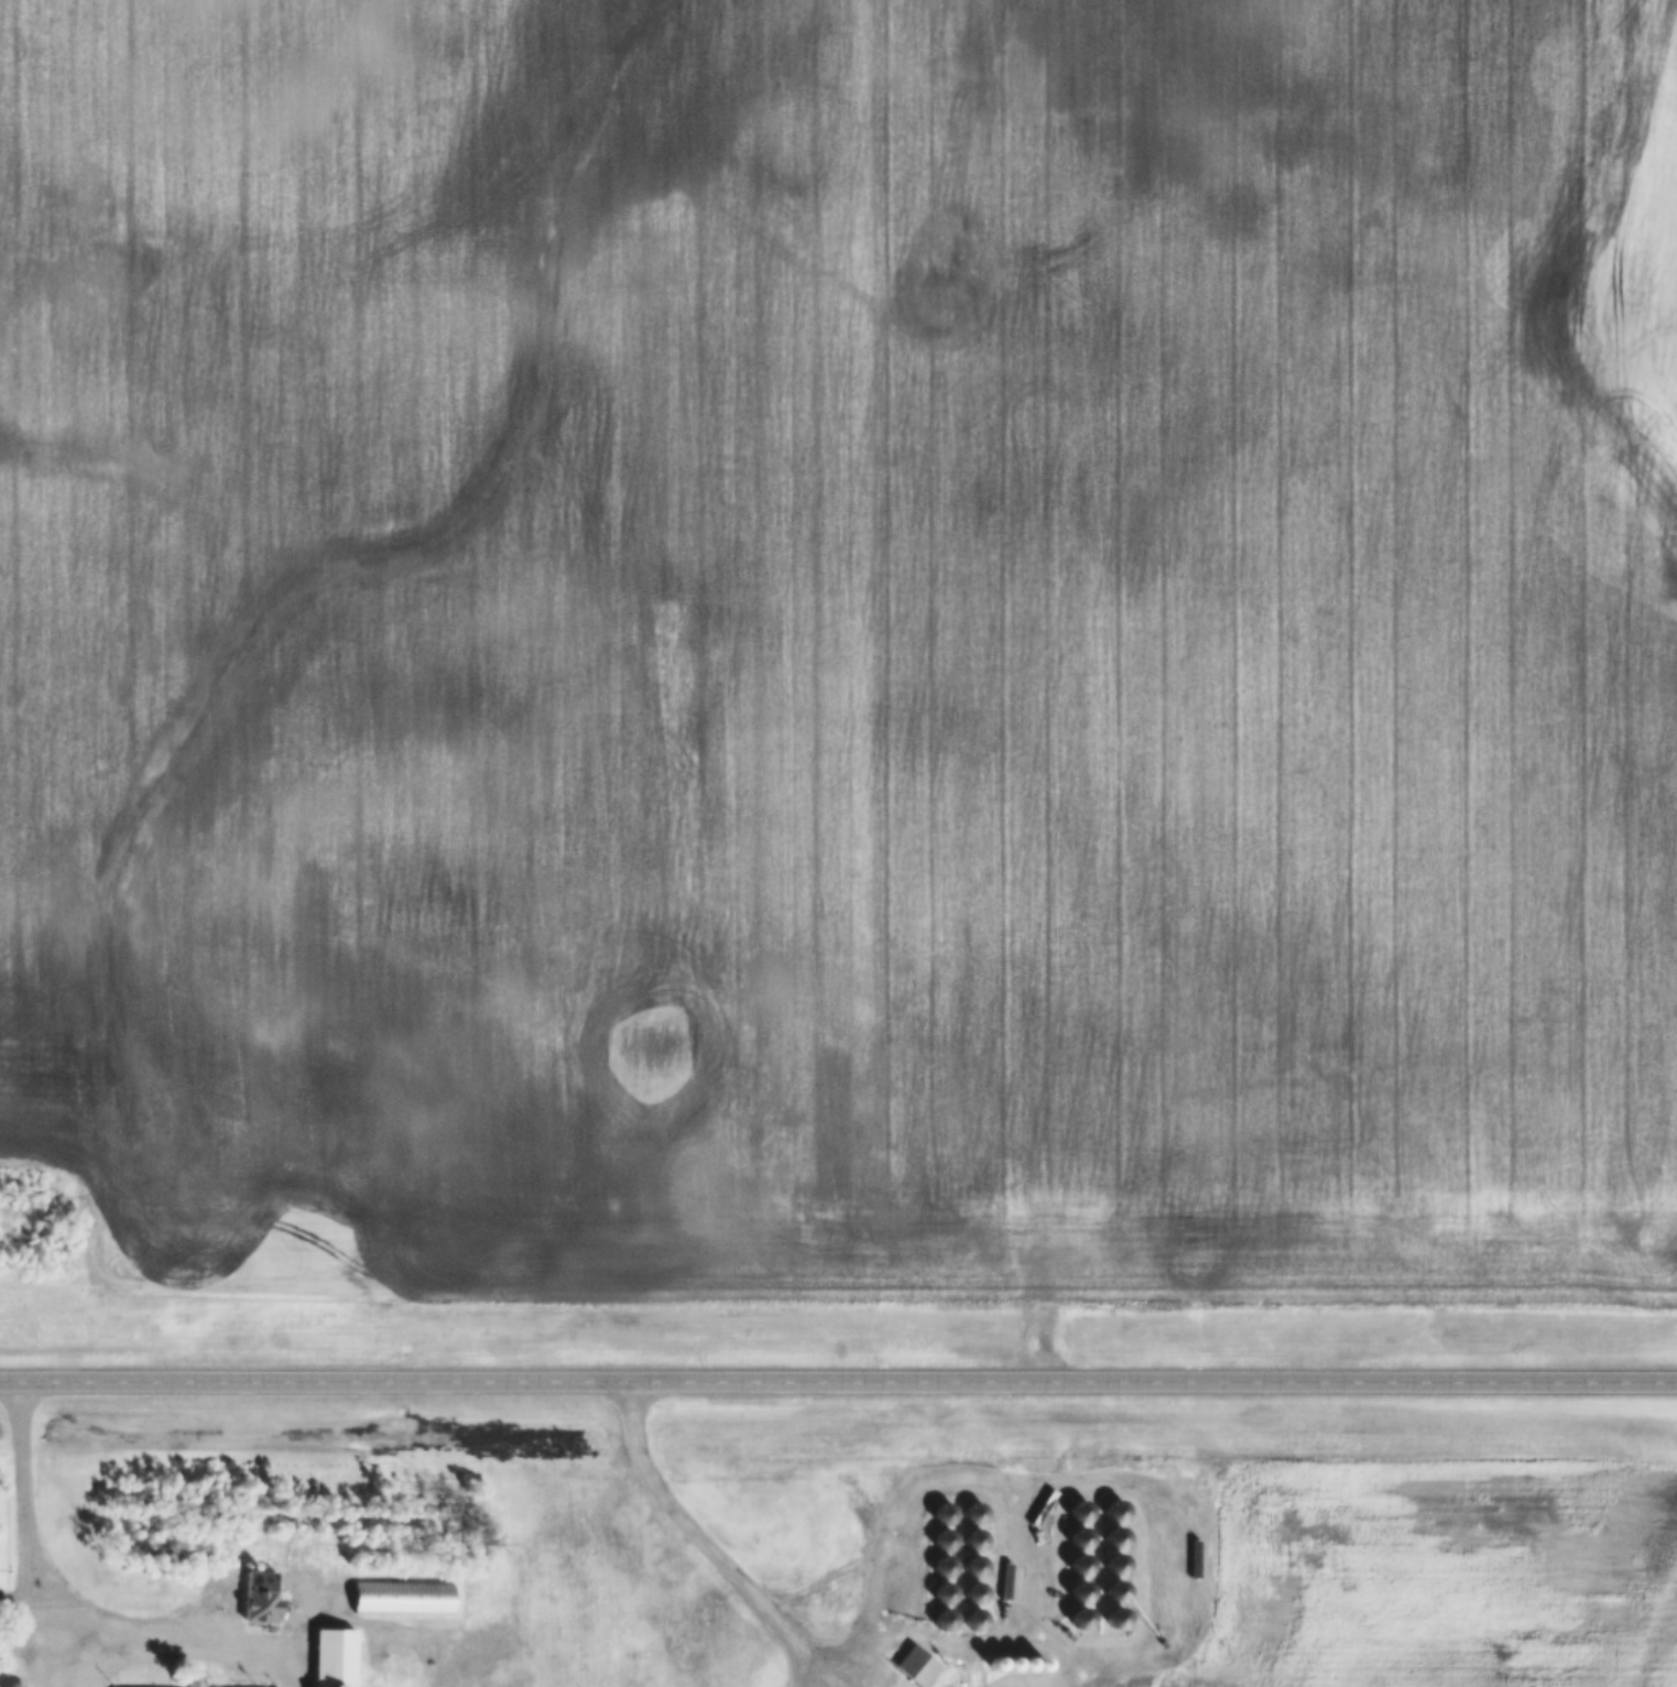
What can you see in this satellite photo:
road: (838, 1379)
road: (960, 1470)
road: (704, 1544)
building: (259, 1598)
building: (401, 1600)
road: (65, 1630)
building: (331, 1658)
building: (915, 1667)
building: (195, 1679)

